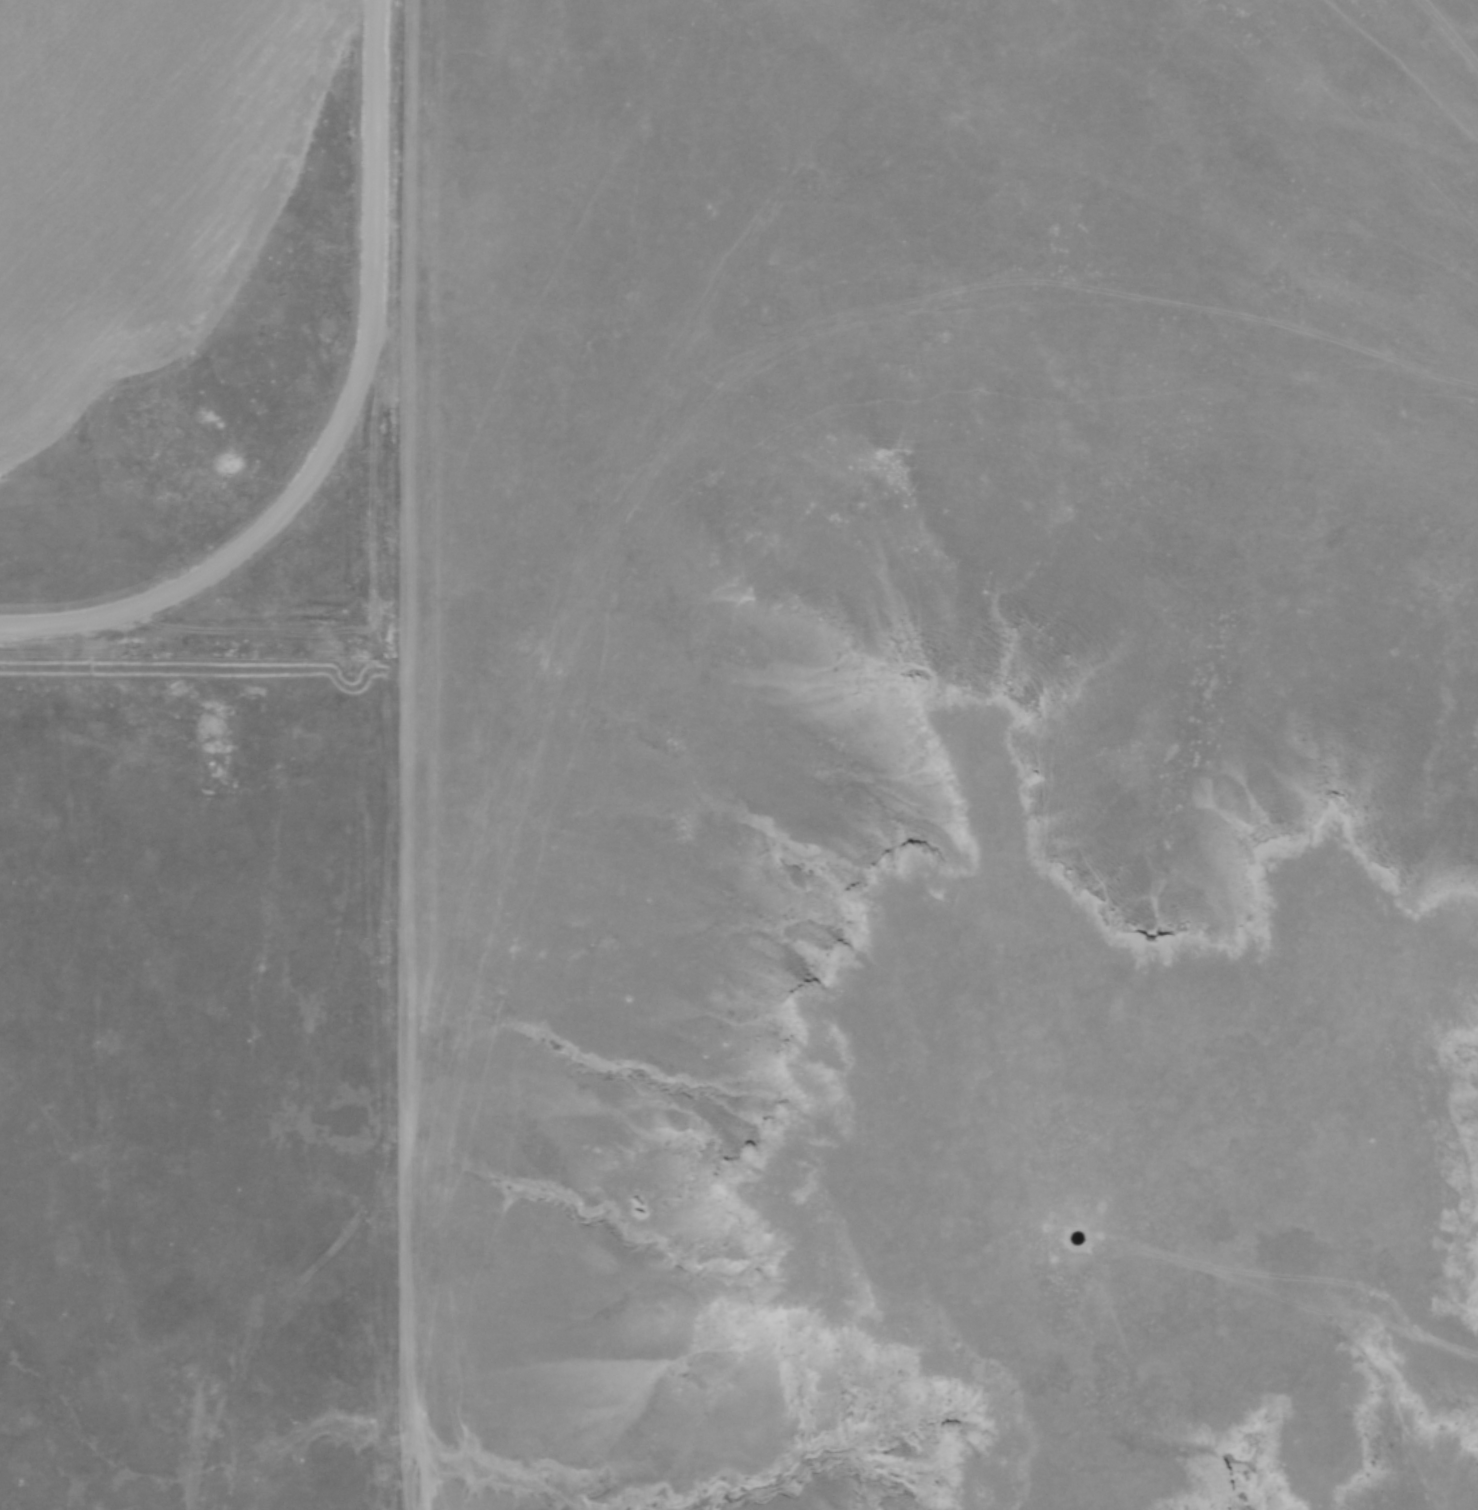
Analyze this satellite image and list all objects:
crop: (139, 179)
road: (379, 277)
road: (146, 605)

